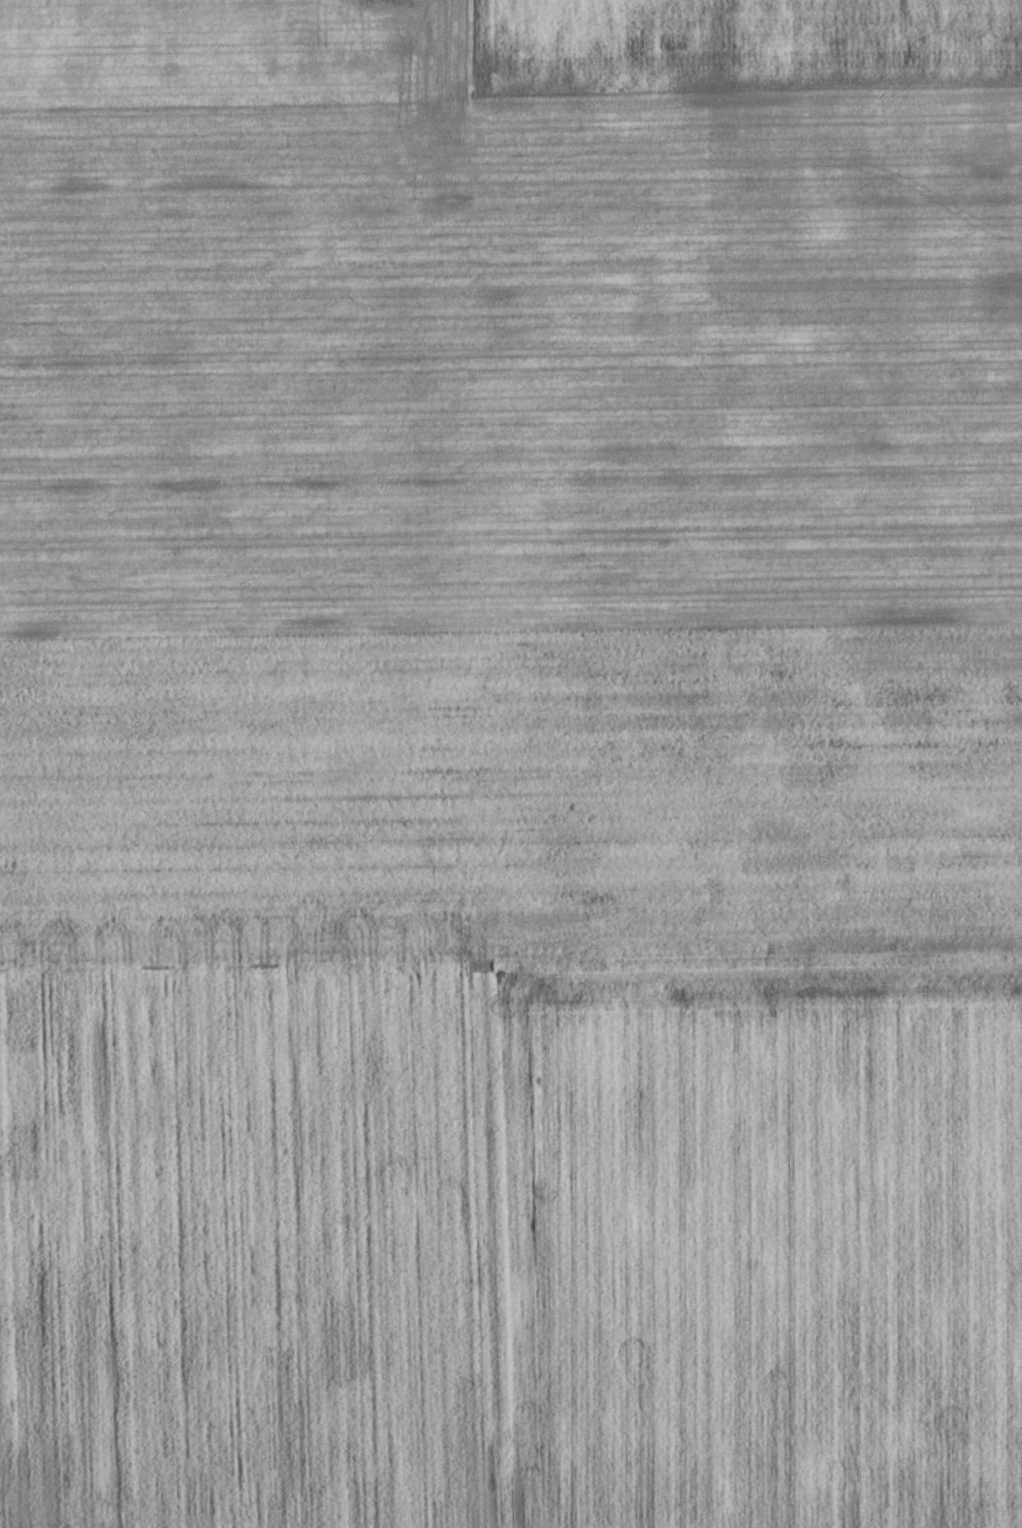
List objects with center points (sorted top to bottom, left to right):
crop: (736, 36)
crop: (229, 43)
crop: (449, 695)
crop: (1011, 1215)
crop: (757, 1242)

